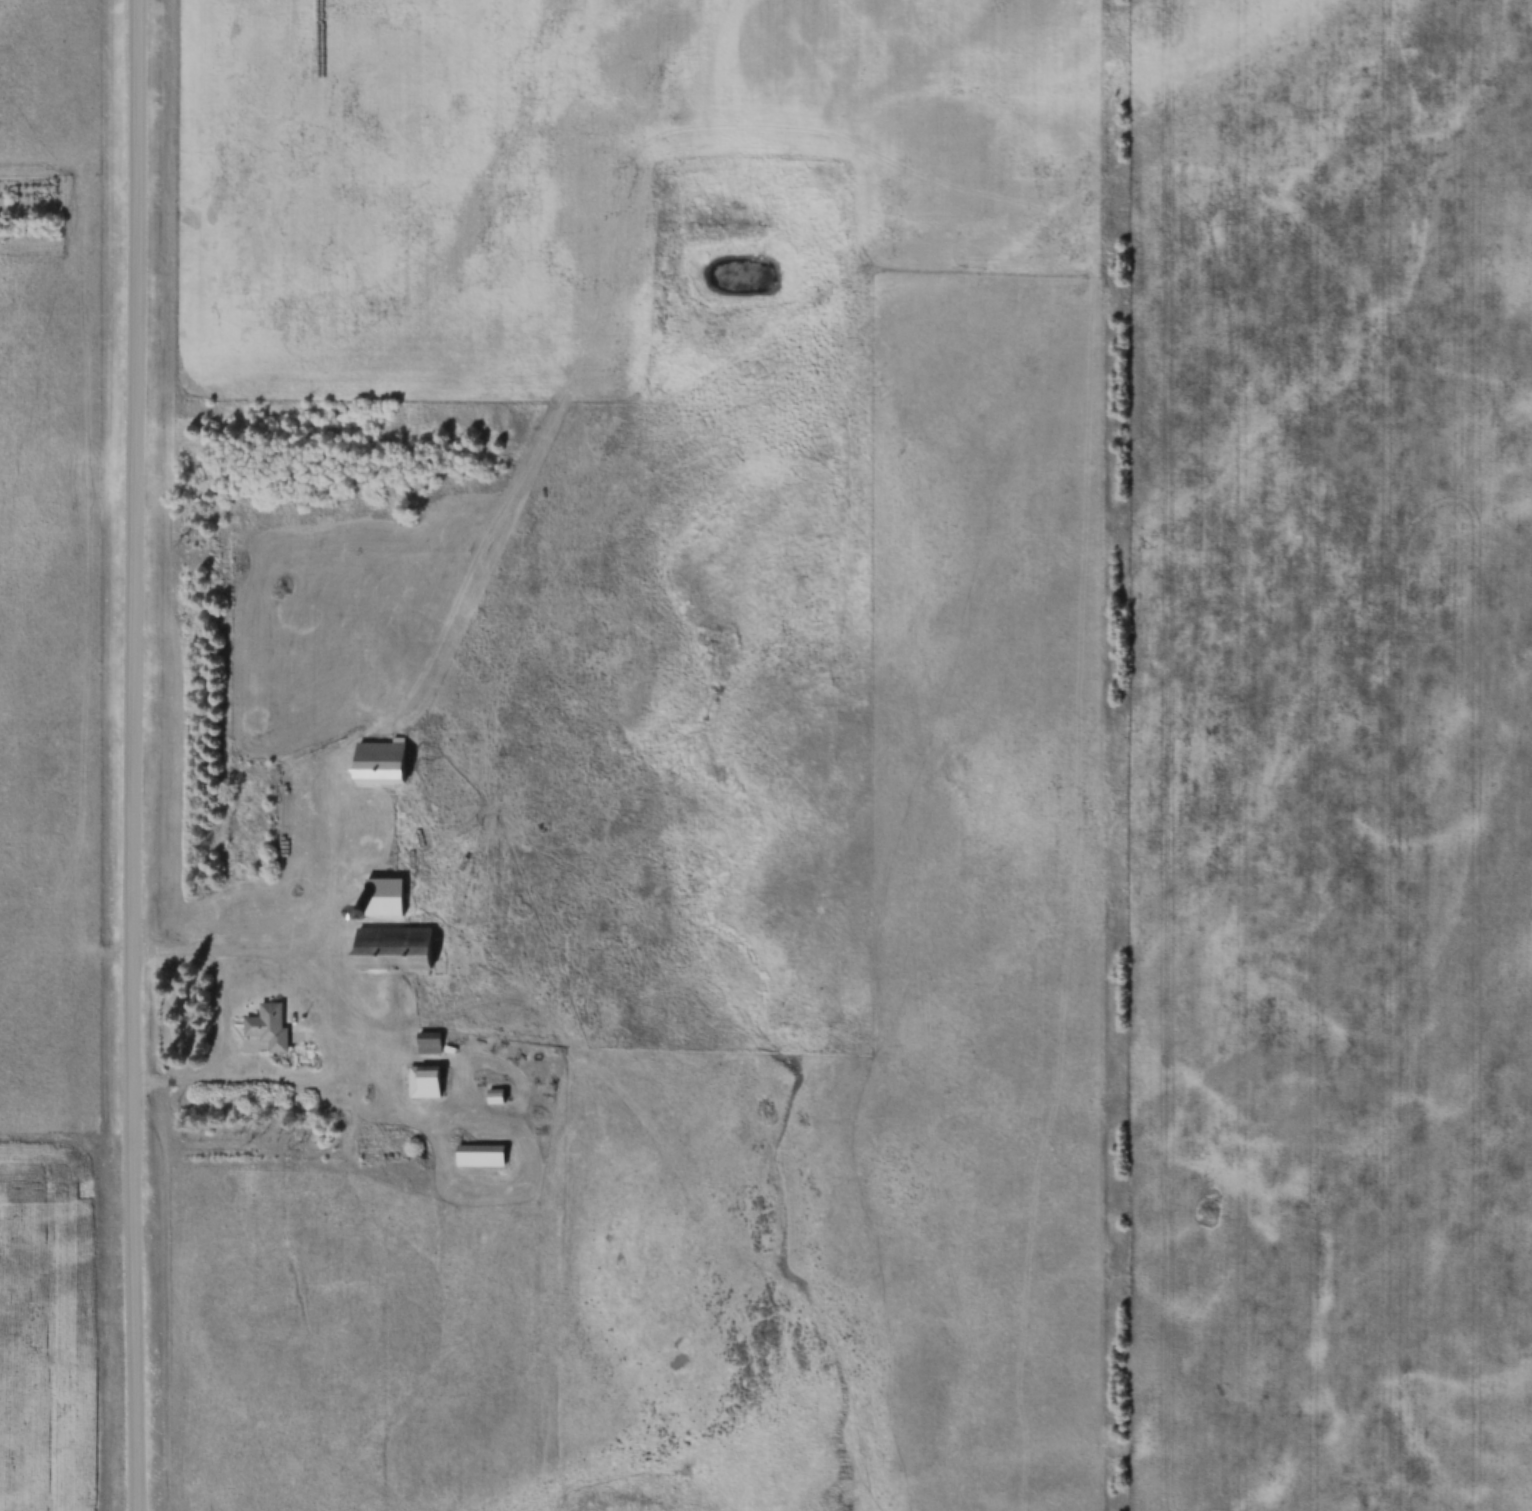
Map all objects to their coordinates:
road: (135, 755)
building: (378, 763)
building: (382, 897)
building: (355, 916)
silo: (355, 916)
building: (393, 947)
building: (270, 1032)
building: (429, 1042)
building: (425, 1082)
building: (494, 1095)
building: (480, 1156)

